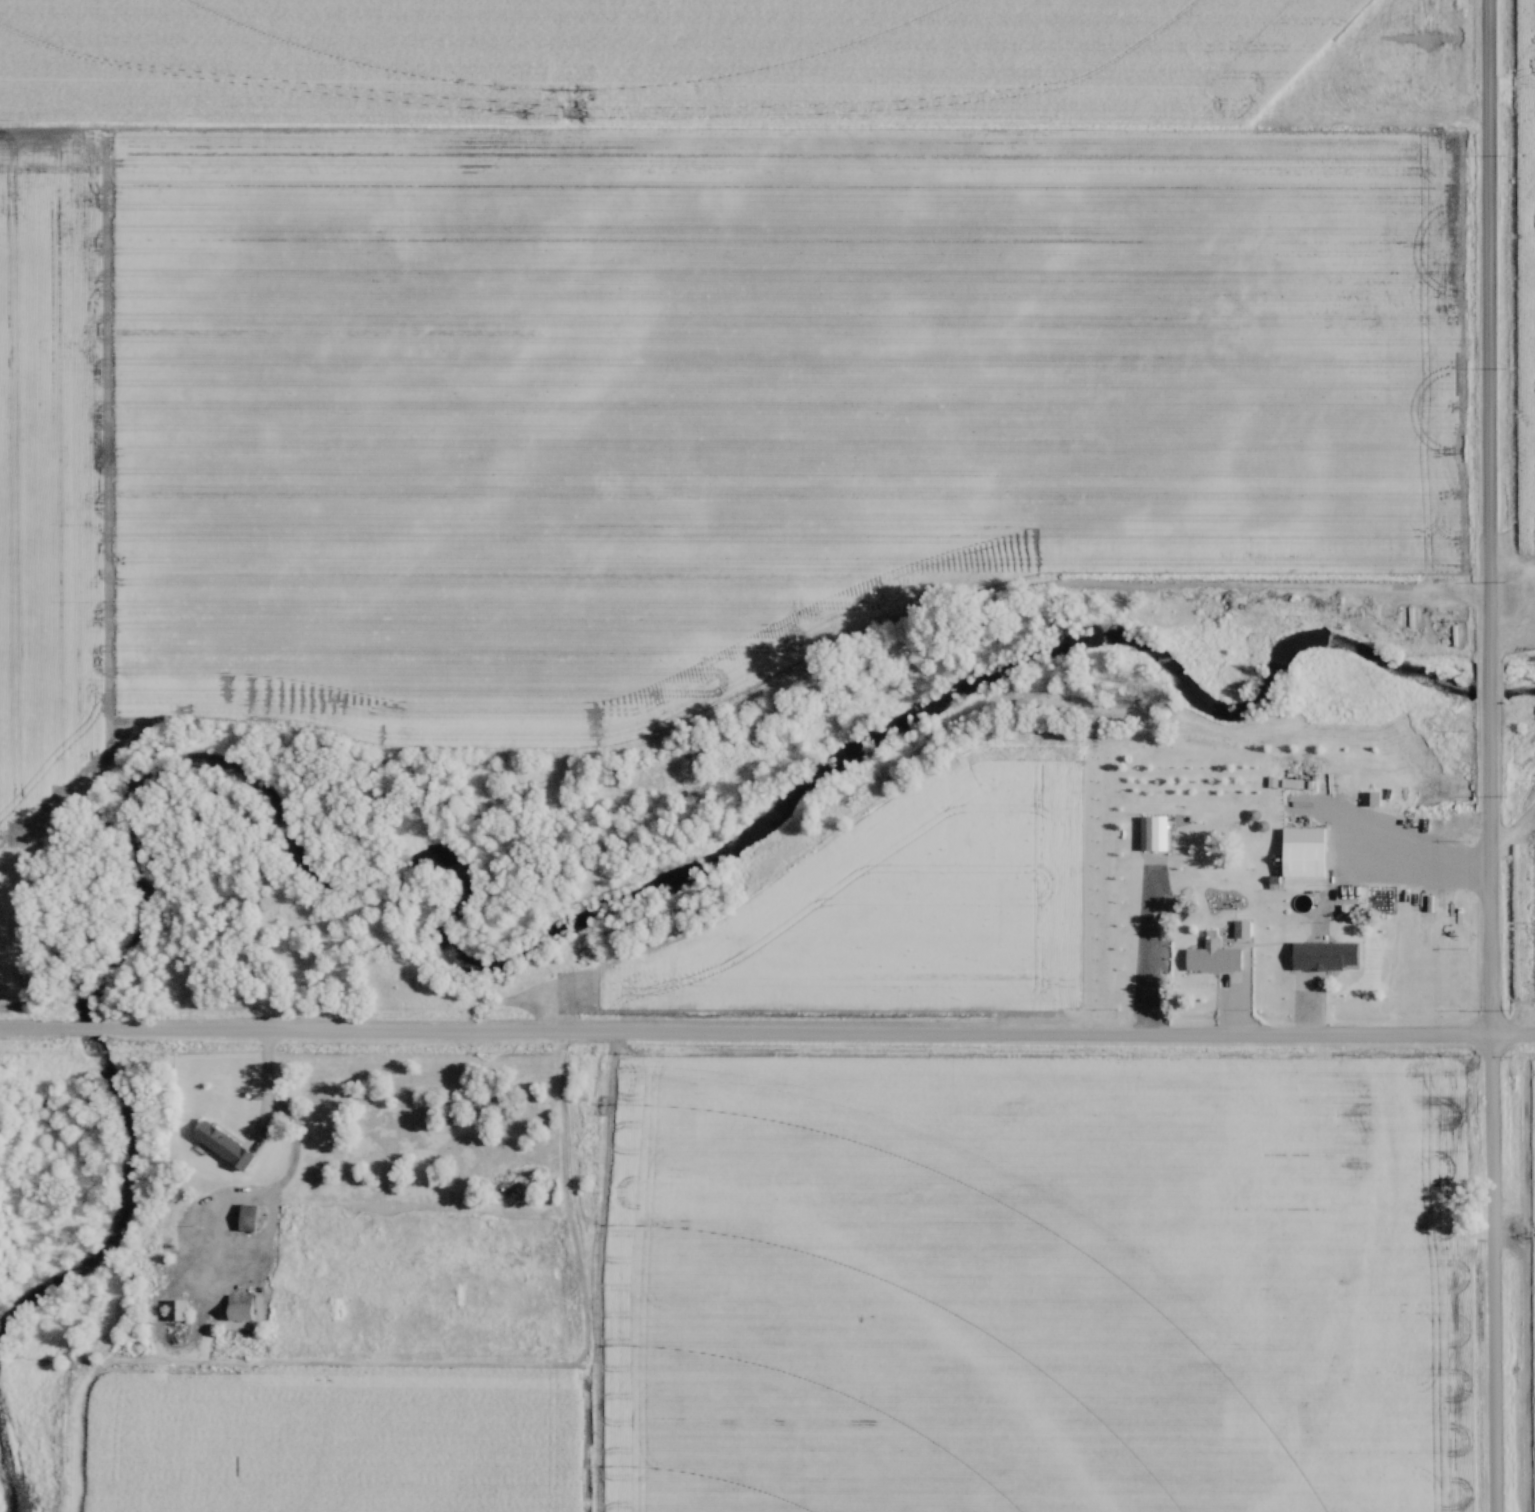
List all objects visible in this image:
road: (1487, 330)
road: (1488, 678)
building: (1263, 774)
building: (1293, 785)
building: (1371, 800)
building: (1305, 860)
road: (1410, 866)
building: (1242, 930)
building: (1334, 957)
building: (1214, 959)
road: (35, 1029)
road: (88, 1029)
road: (820, 1035)
road: (1488, 1103)
road: (262, 1145)
building: (225, 1147)
building: (249, 1220)
building: (241, 1308)
building: (177, 1312)

